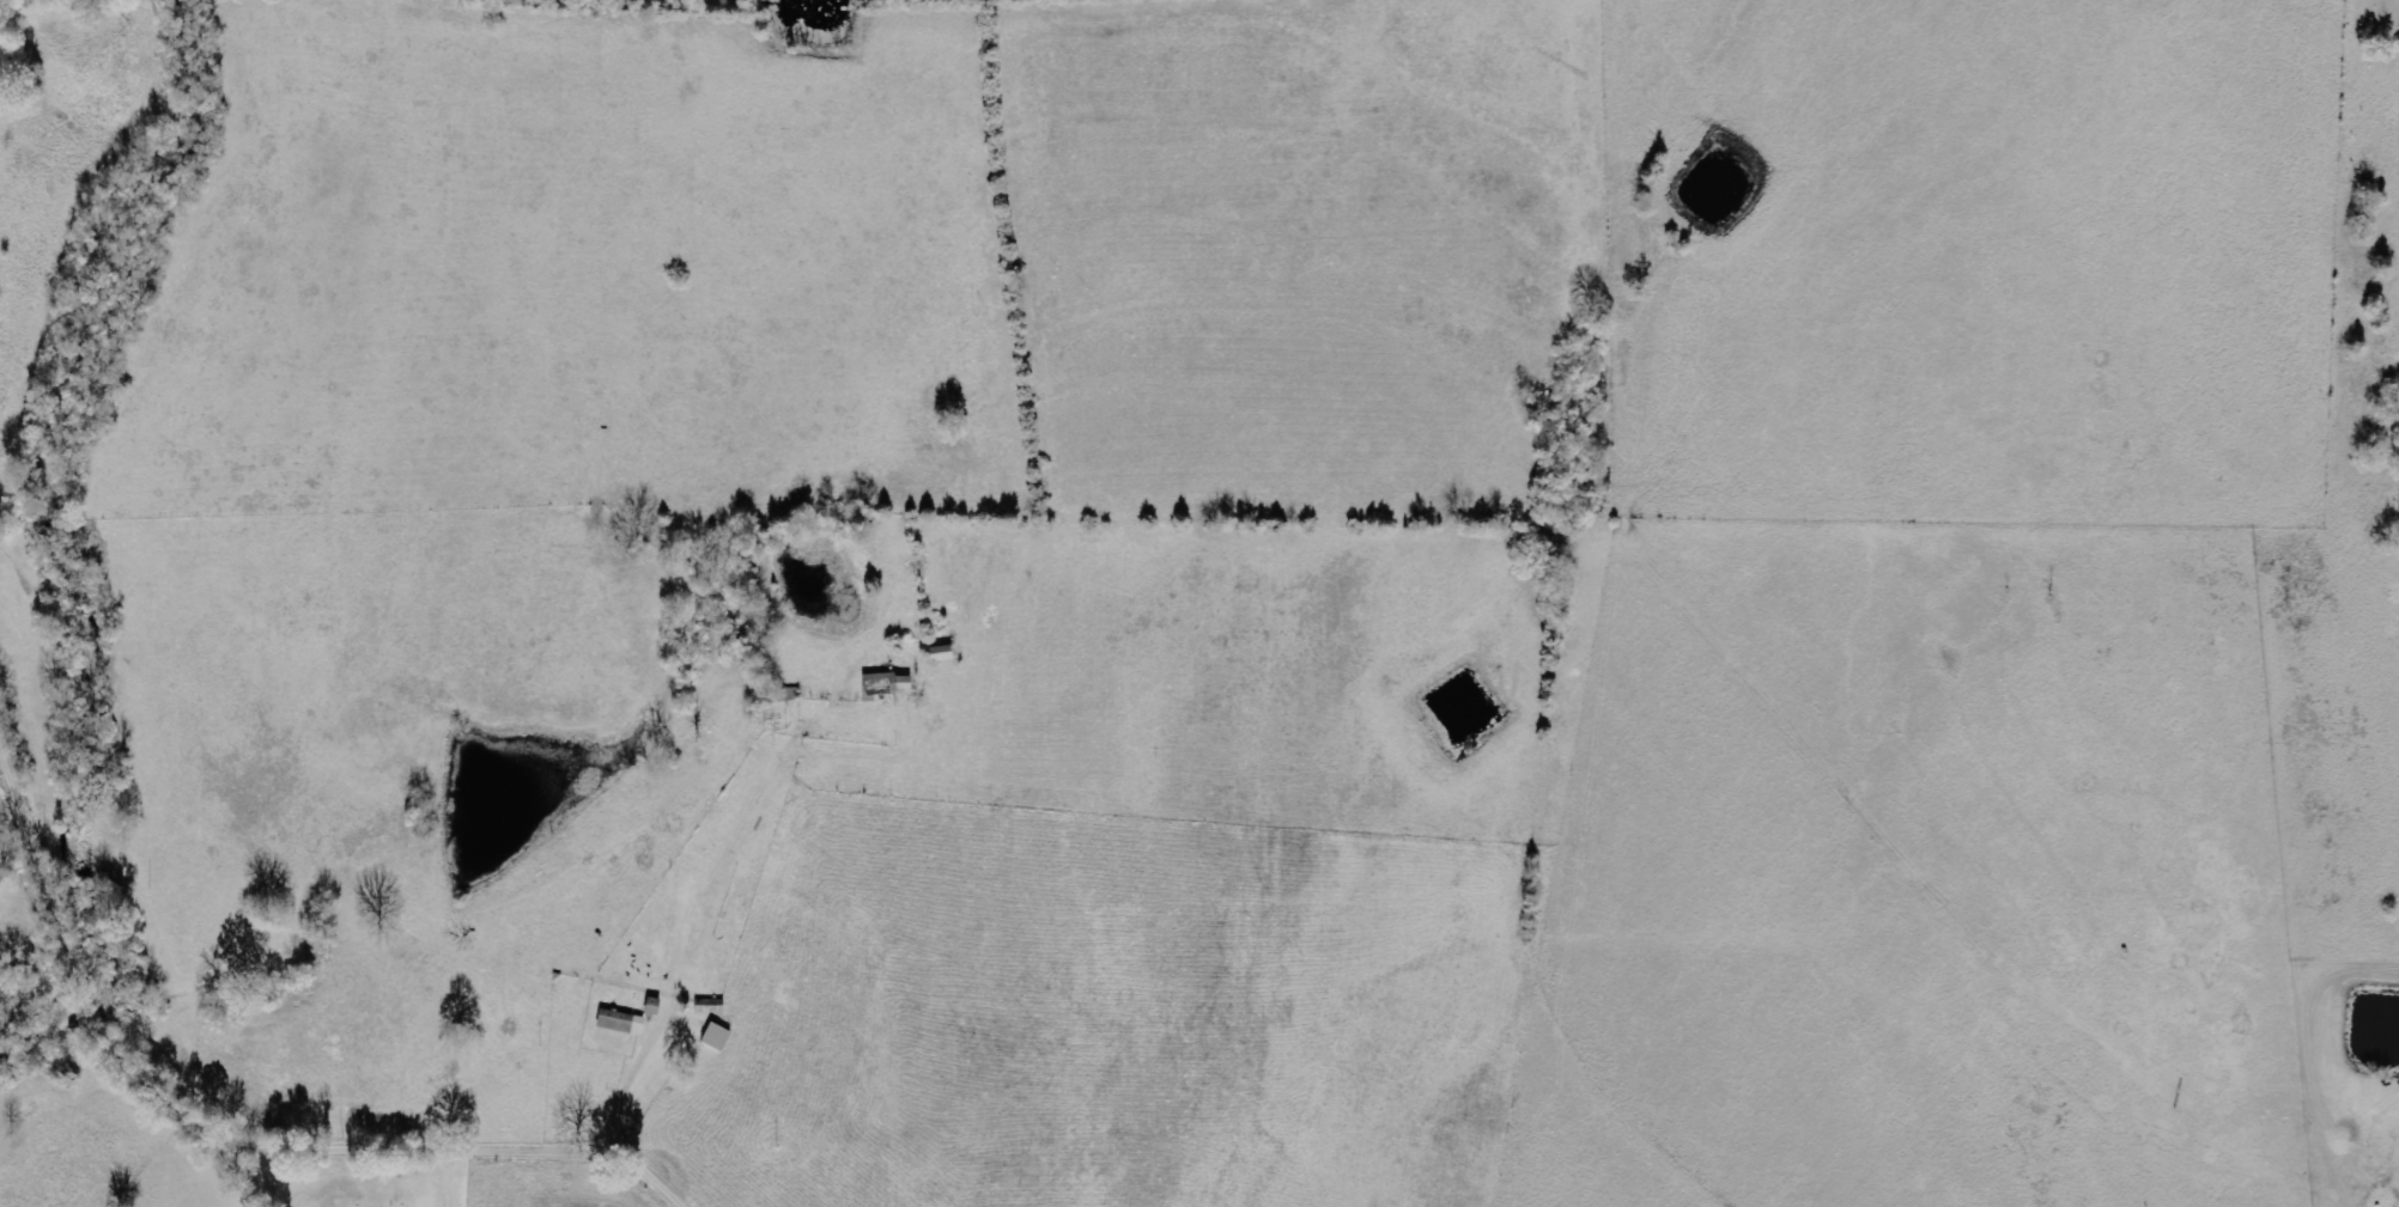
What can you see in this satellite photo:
building: (722, 1037)
road: (223, 1139)

